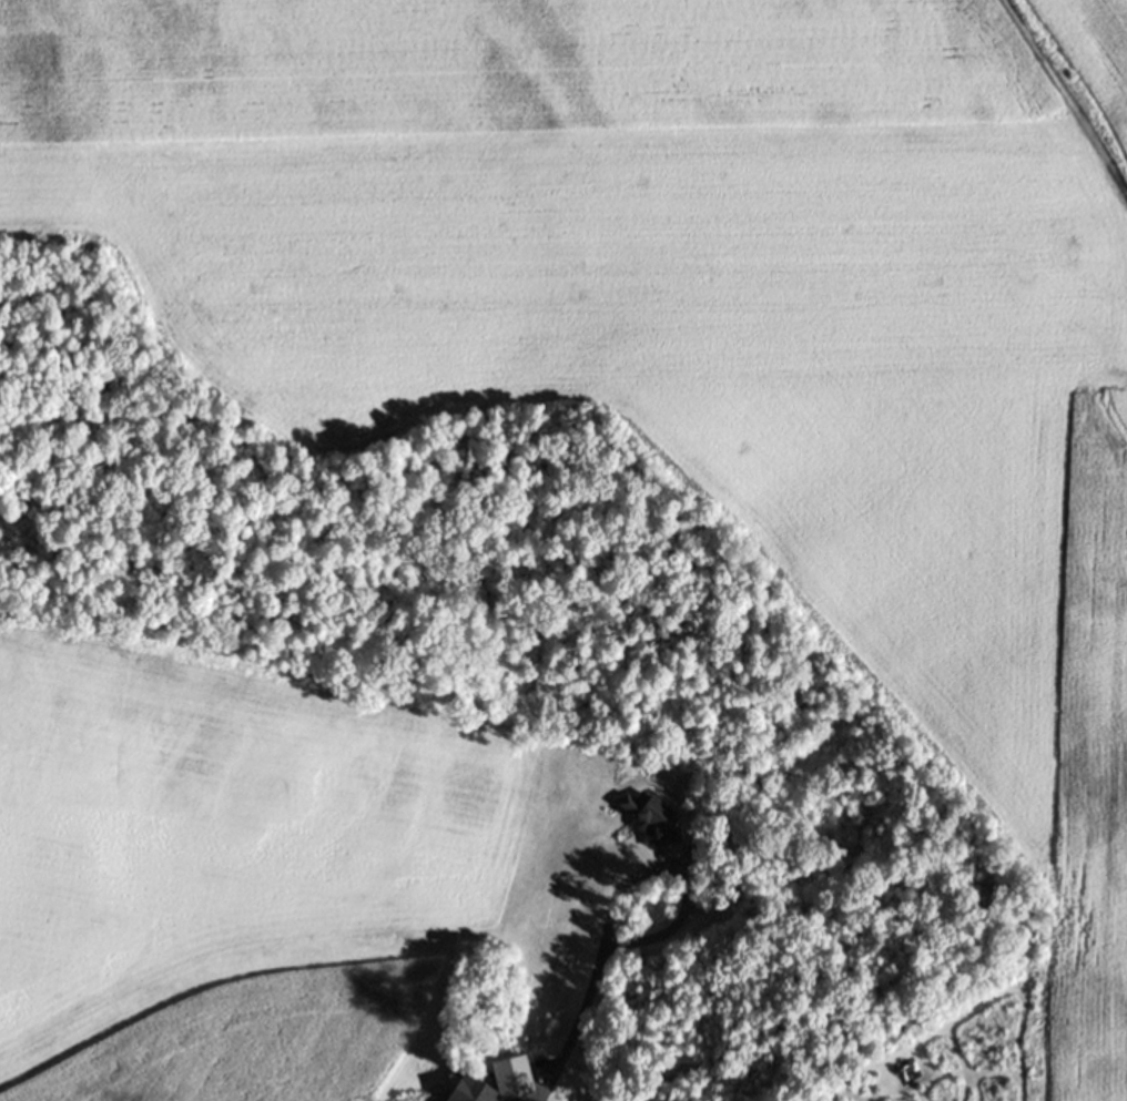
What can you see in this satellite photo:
building: (653, 814)
road: (678, 871)
road: (578, 1022)

